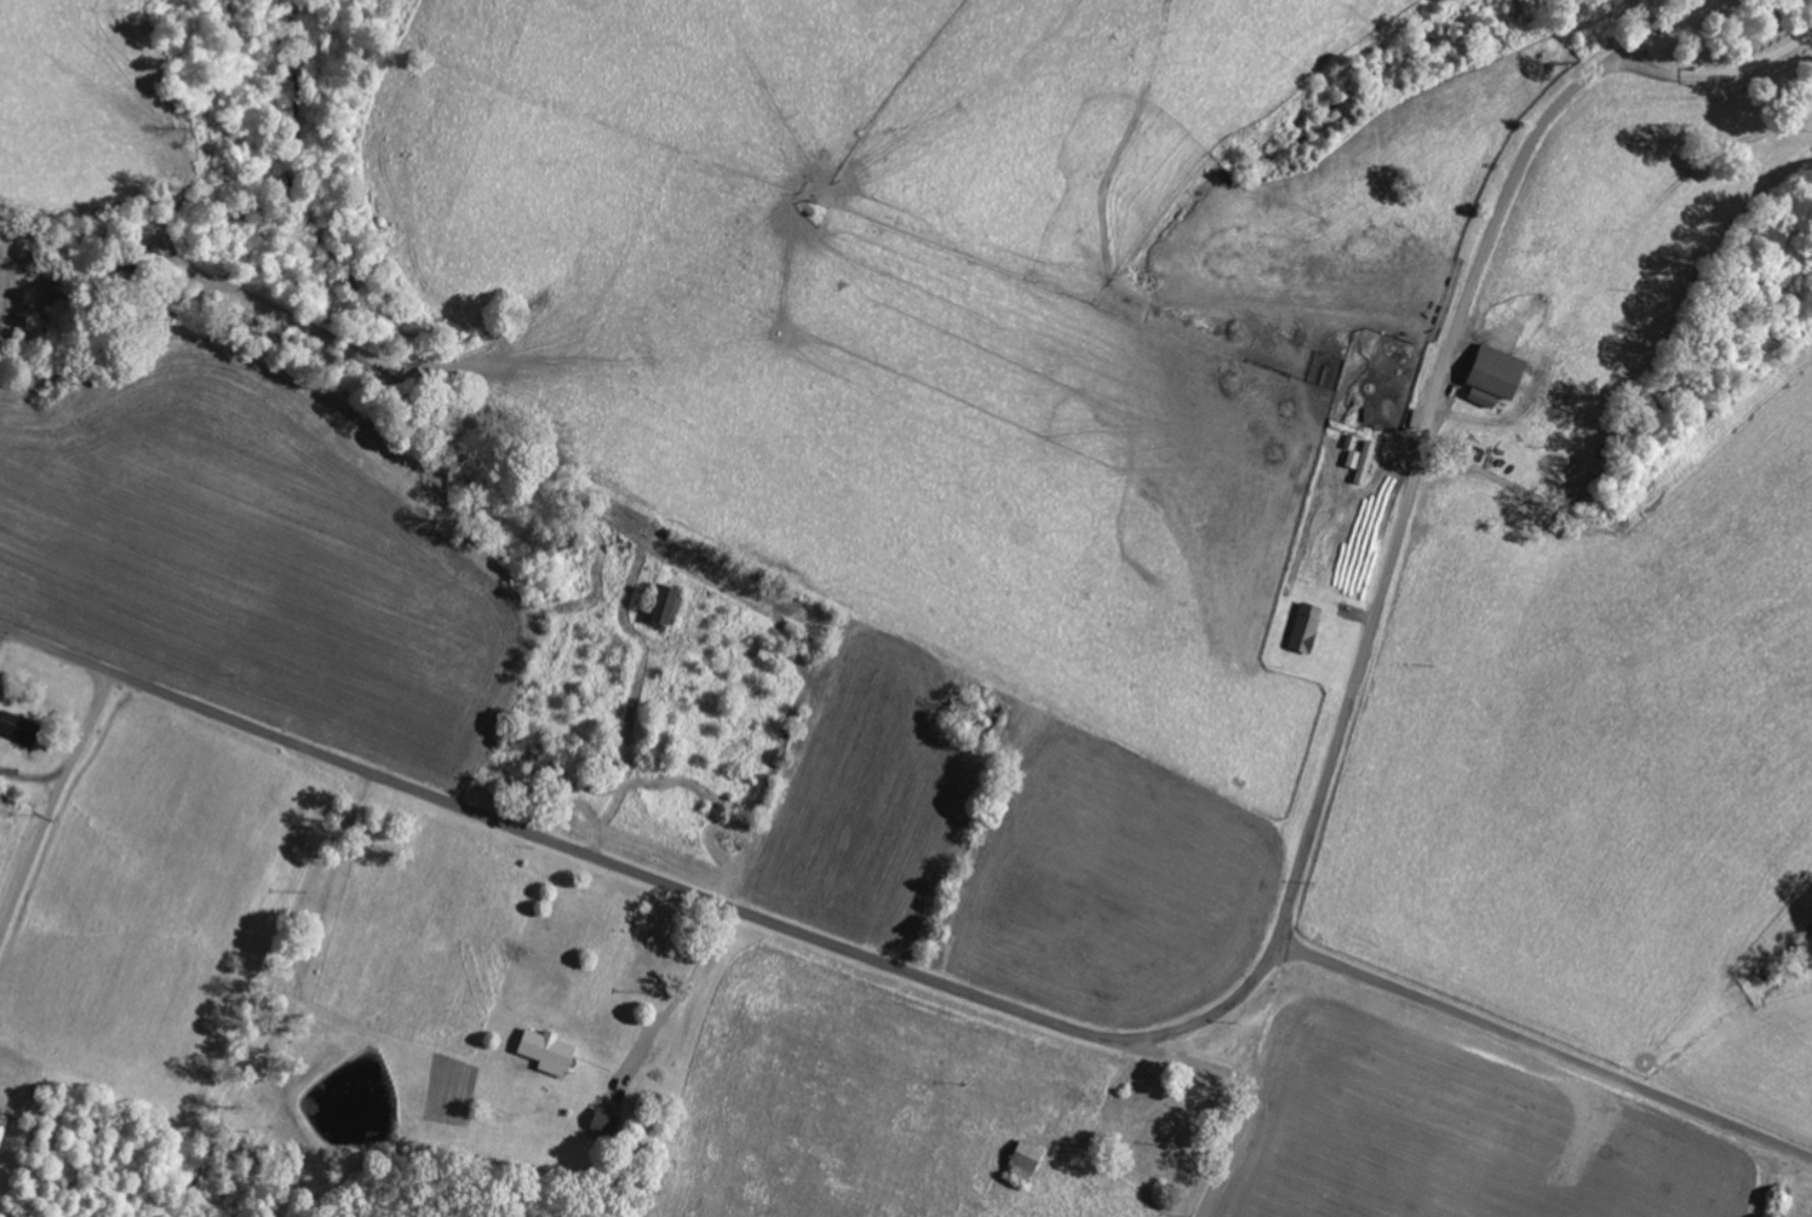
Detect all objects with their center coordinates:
building: (1500, 373)
building: (1485, 400)
building: (1366, 463)
building: (1351, 535)
building: (667, 608)
building: (1308, 628)
building: (22, 728)
road: (1153, 1037)
building: (552, 1050)
road: (1544, 1050)
building: (4, 1125)

